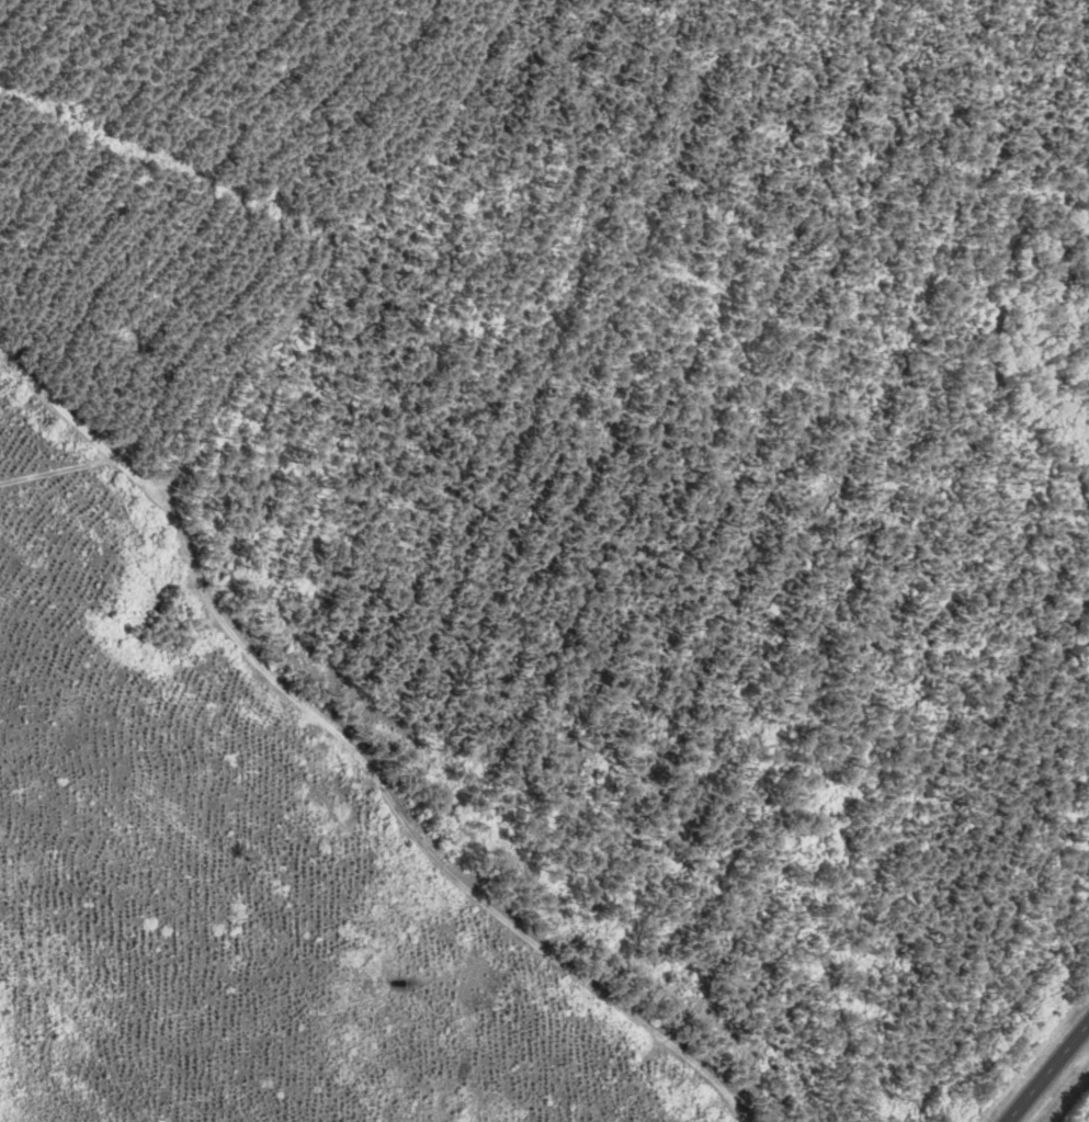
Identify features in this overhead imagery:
road: (1048, 1072)

